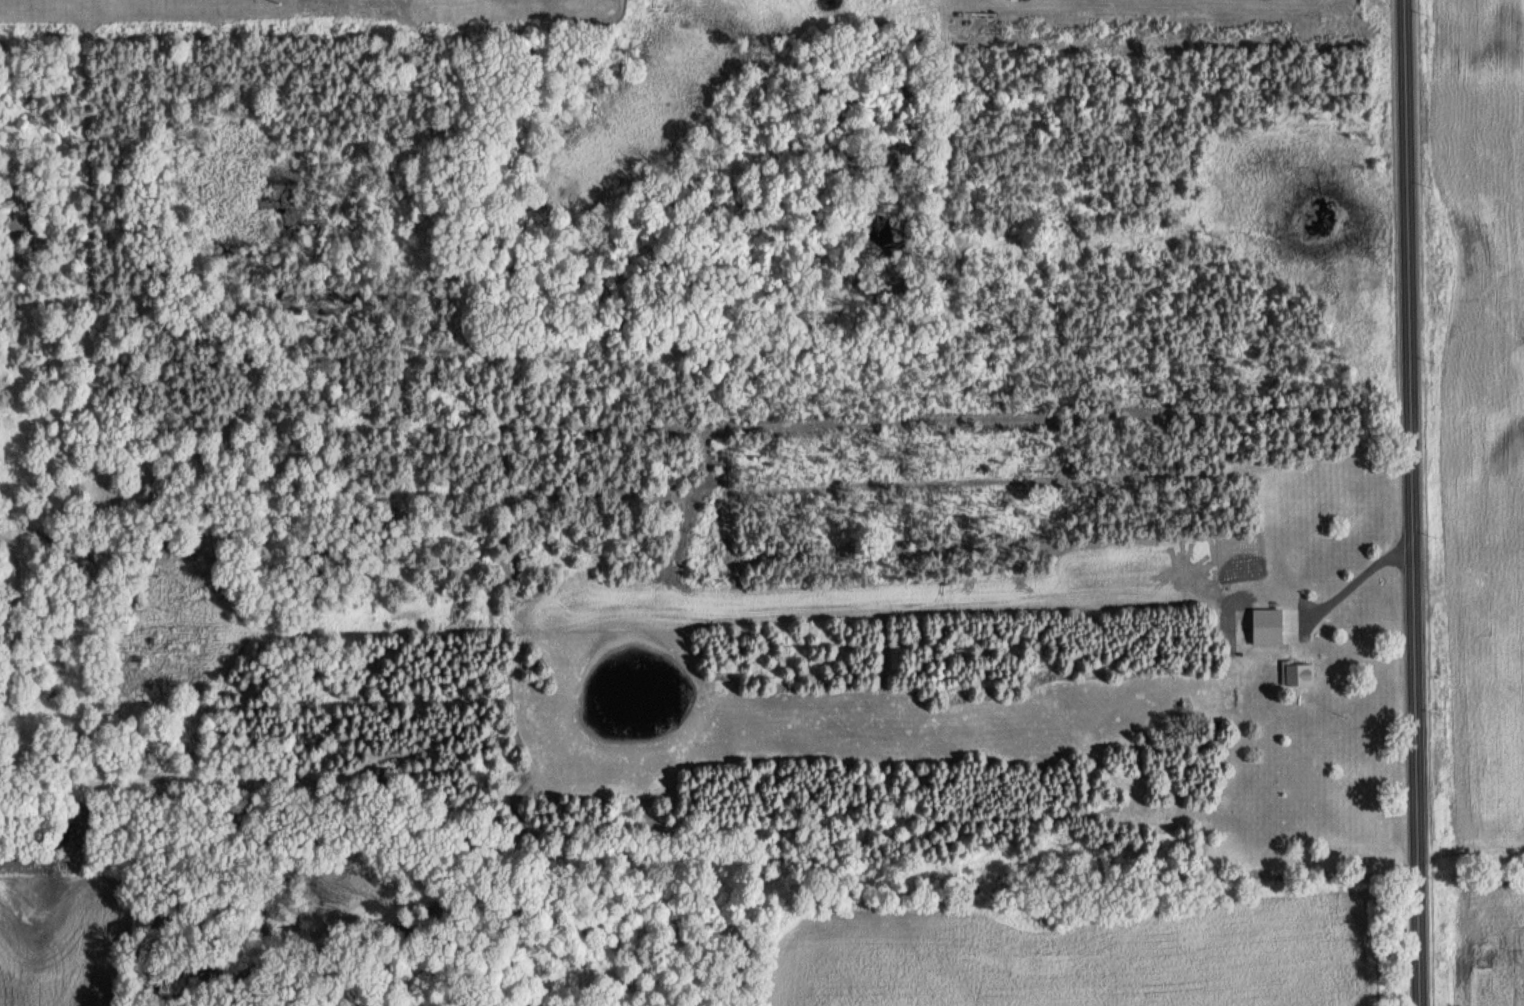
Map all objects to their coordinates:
power tower: (634, 1)
power tower: (275, 2)
road: (1407, 503)
building: (1276, 624)
building: (1297, 672)

